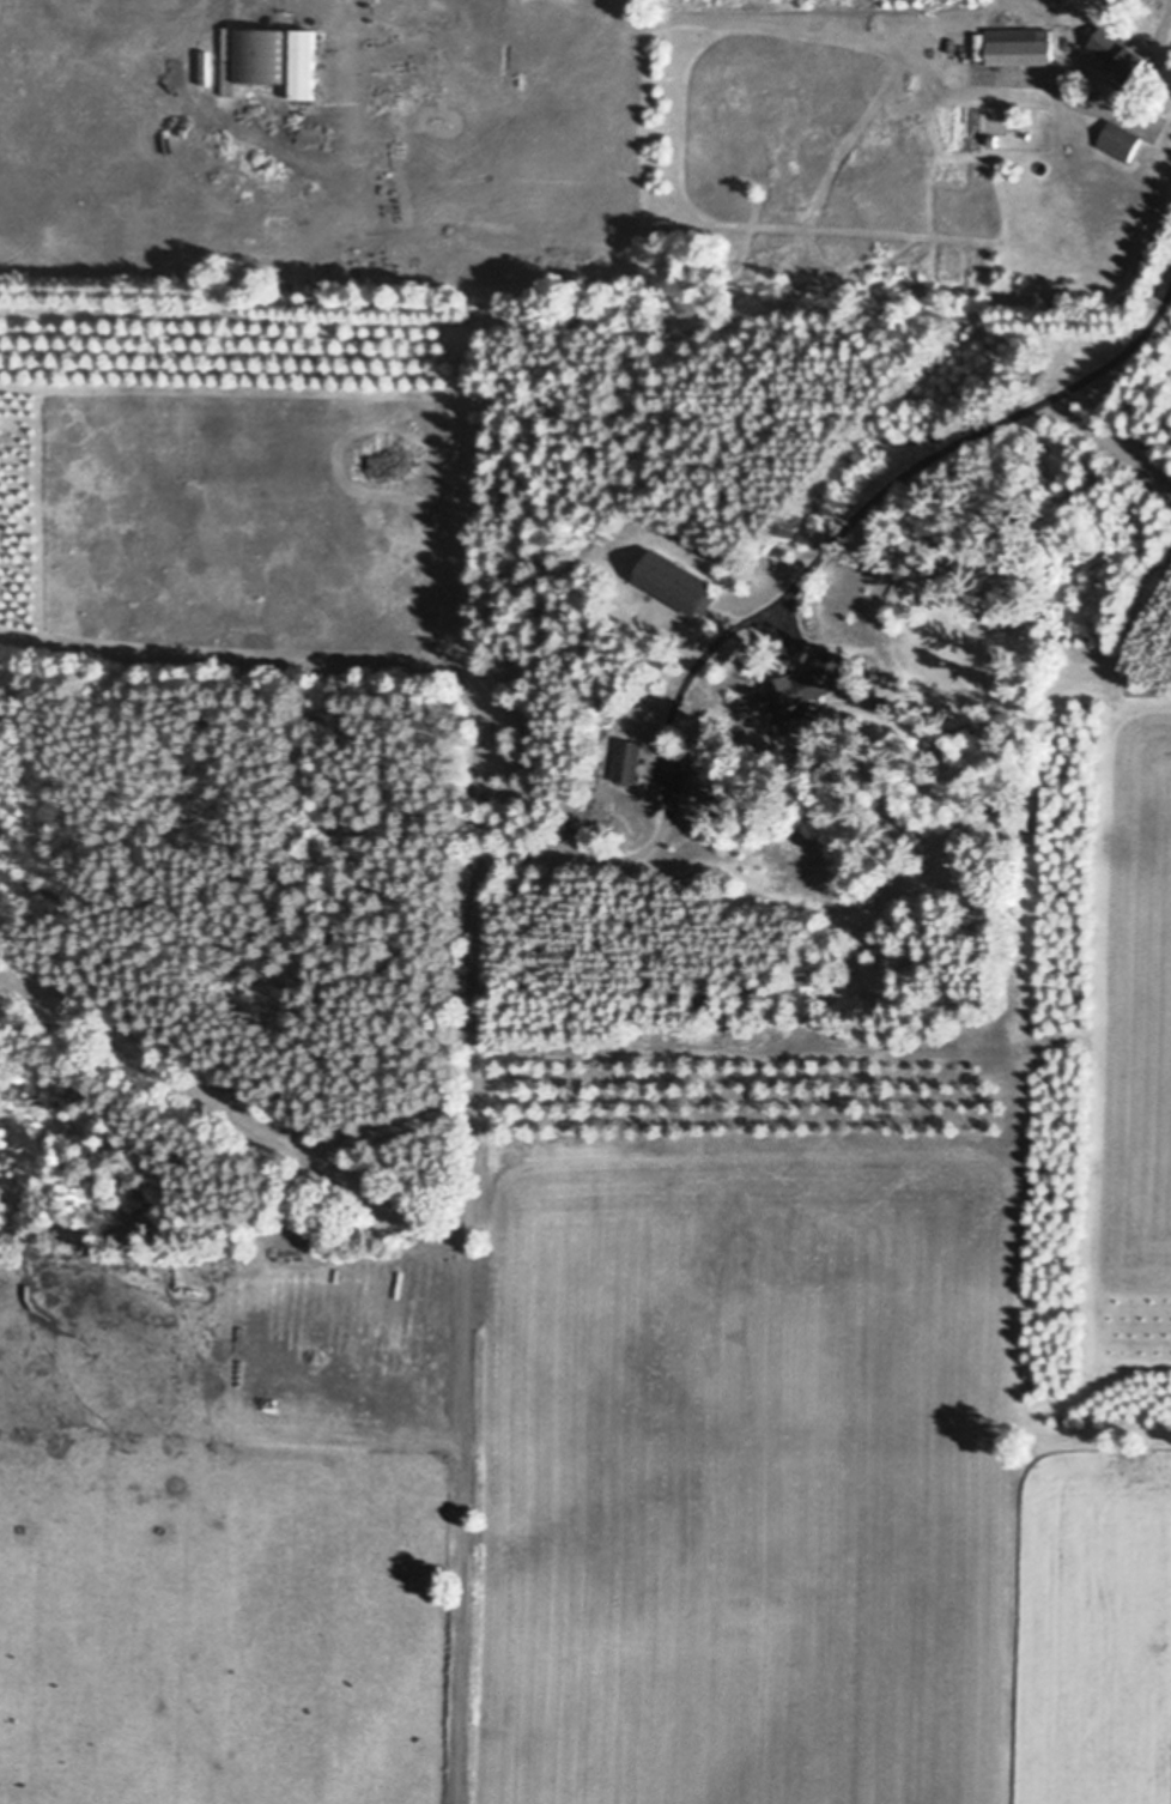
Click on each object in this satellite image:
road: (309, 10)
building: (1019, 48)
building: (981, 53)
building: (1118, 55)
building: (304, 68)
road: (1133, 89)
building: (991, 140)
building: (1120, 143)
road: (967, 437)
building: (675, 575)
building: (802, 679)
building: (626, 755)
building: (332, 1152)

